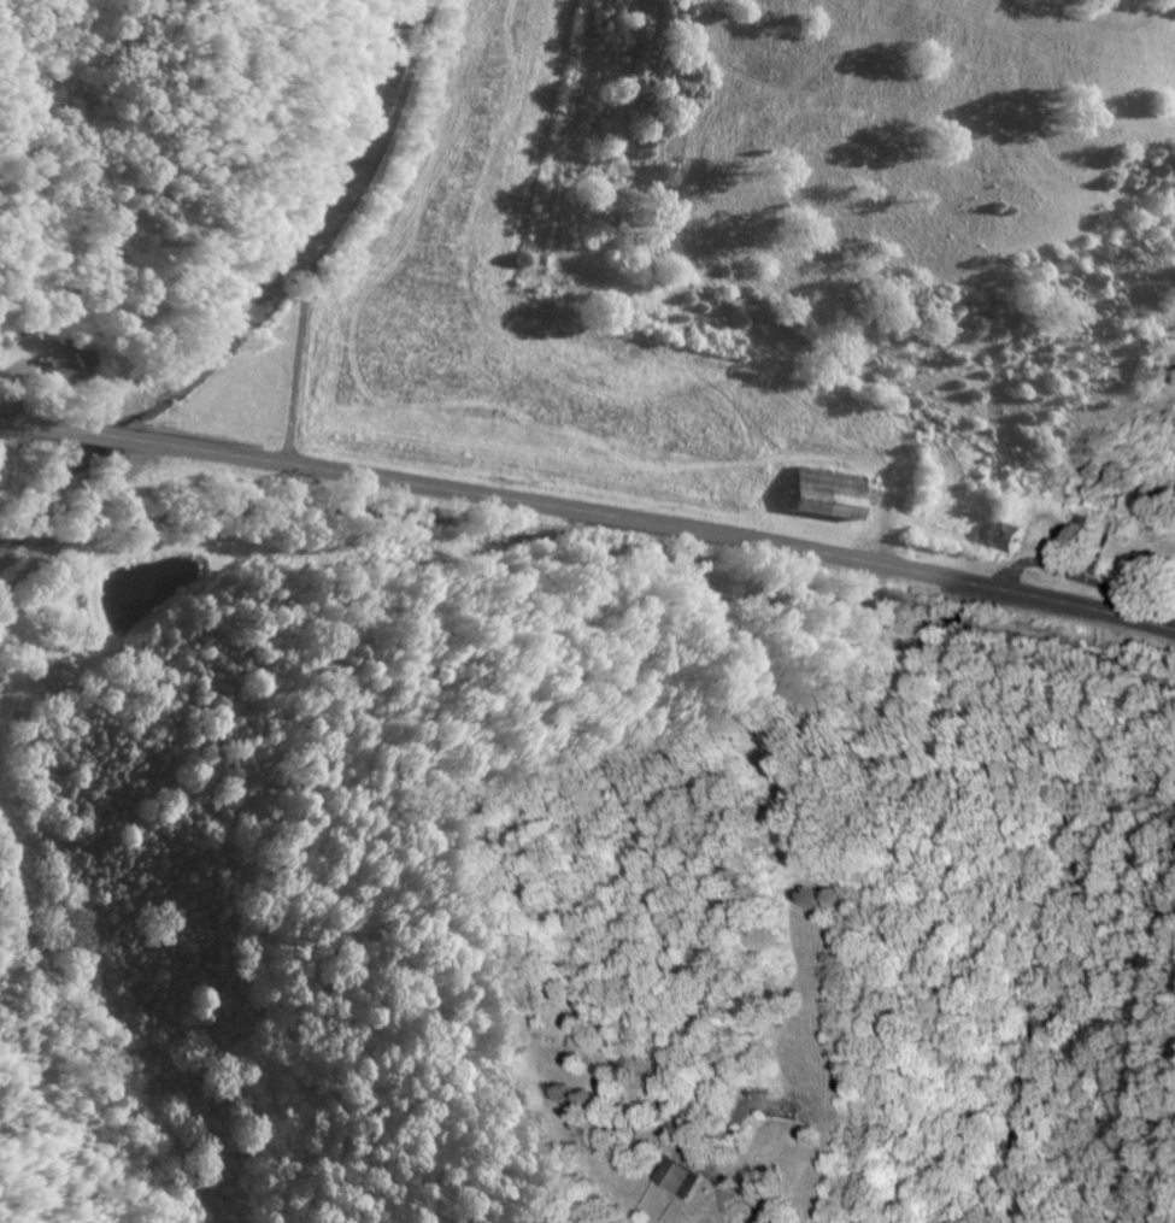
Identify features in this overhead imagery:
road: (302, 294)
building: (55, 355)
road: (143, 443)
building: (816, 493)
building: (998, 536)
road: (733, 537)
building: (668, 1176)

